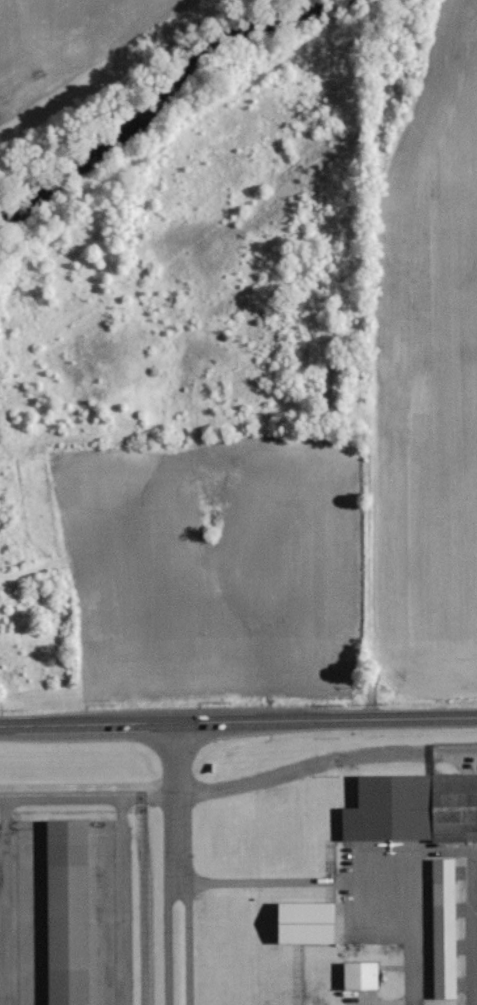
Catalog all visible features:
road: (238, 729)
road: (84, 803)
road: (1, 804)
building: (413, 808)
road: (166, 867)
road: (187, 867)
airport: (239, 876)
road: (254, 885)
building: (66, 916)
building: (307, 922)
building: (444, 928)
building: (361, 975)

